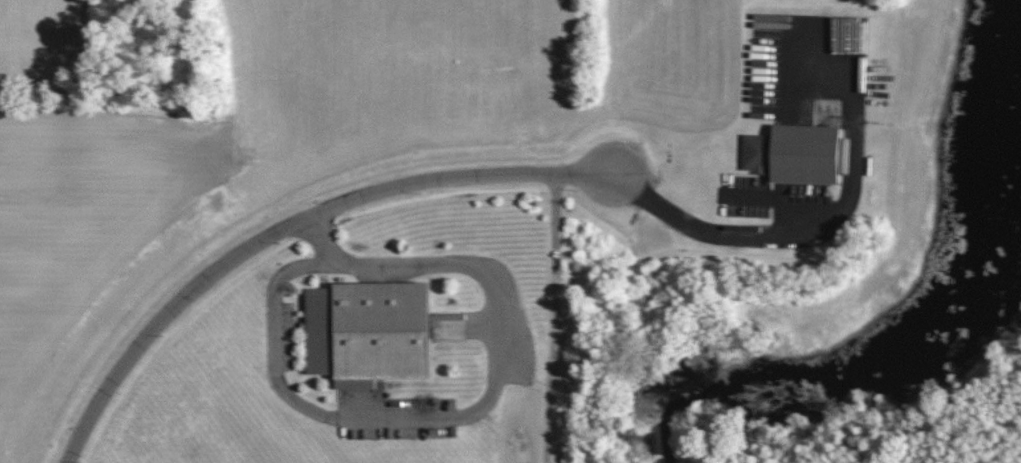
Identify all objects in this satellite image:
building: (763, 21)
building: (791, 154)
road: (393, 184)
building: (375, 332)
road: (470, 414)

